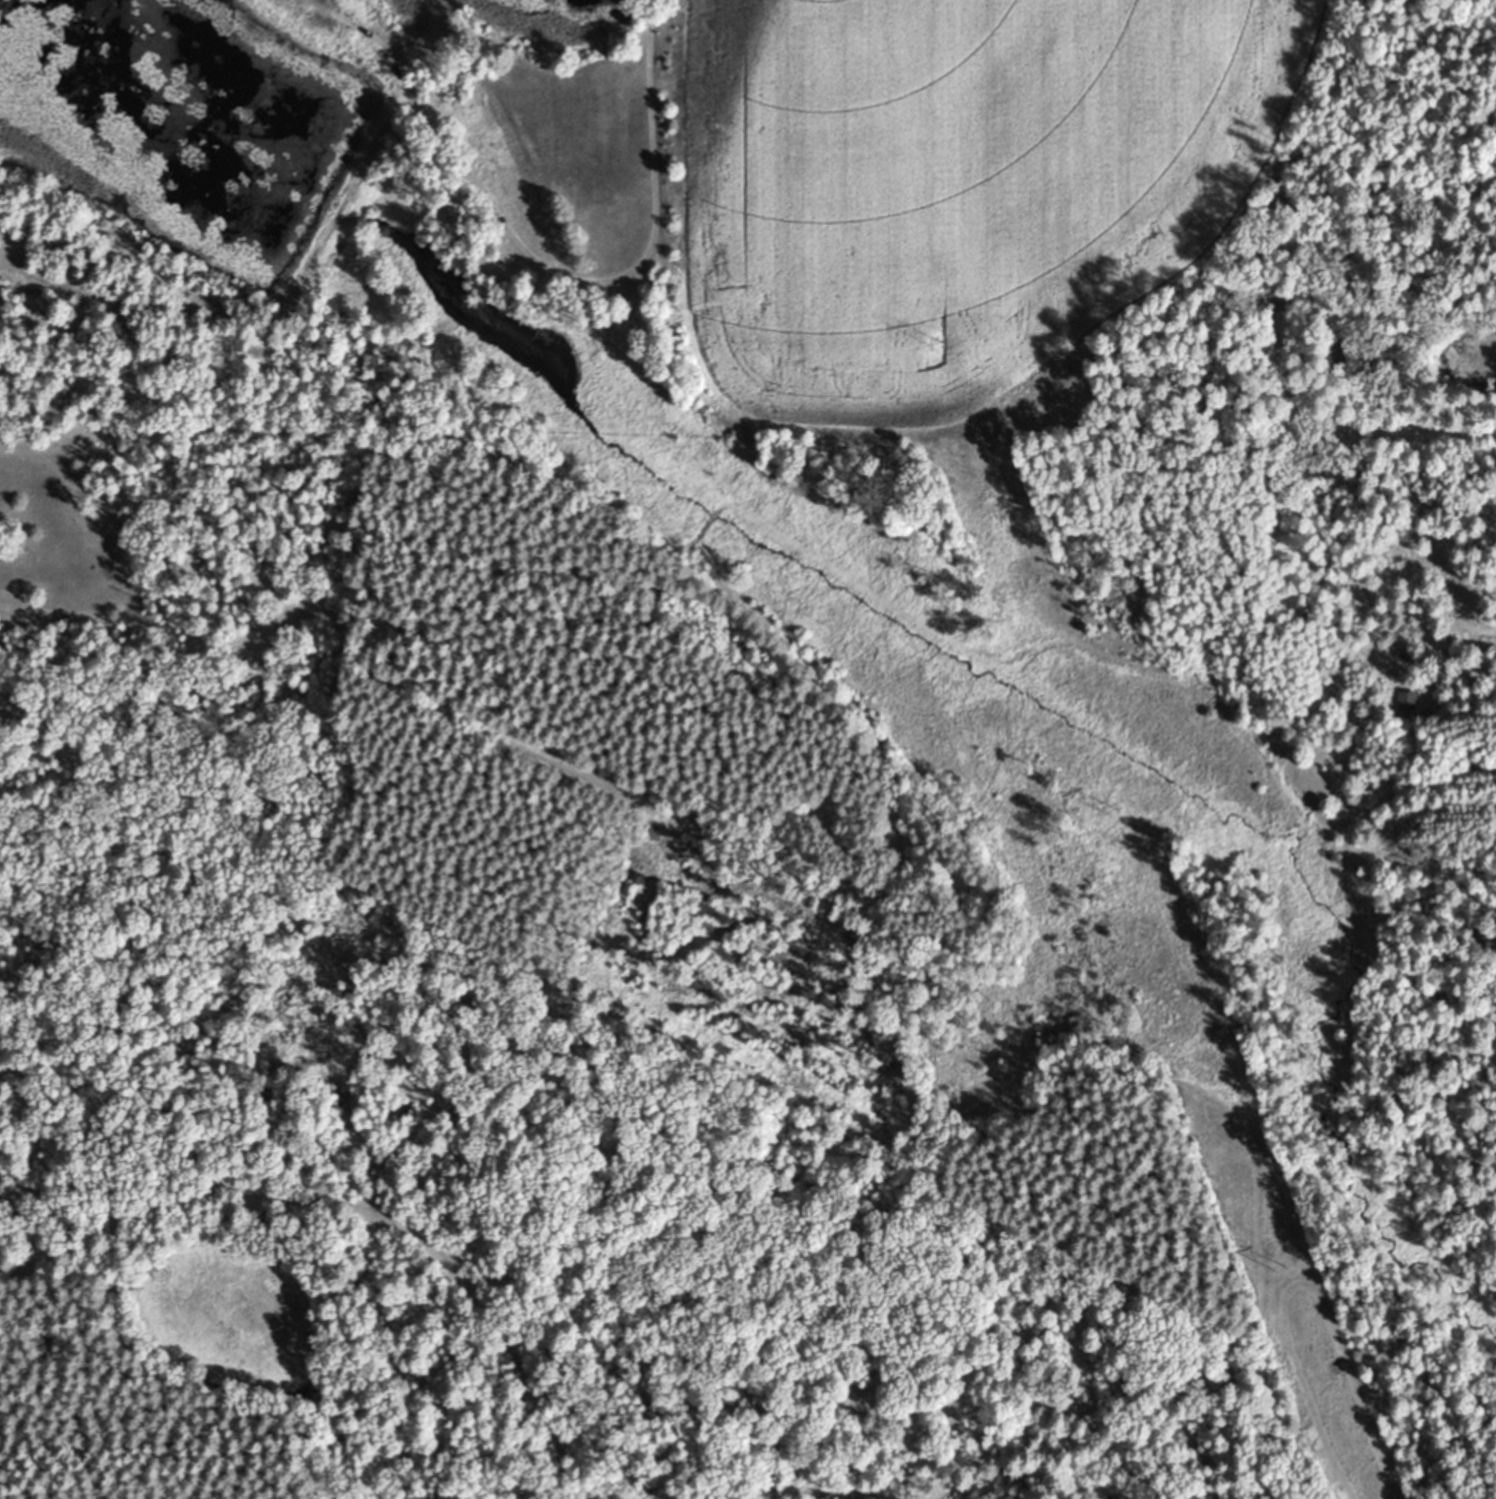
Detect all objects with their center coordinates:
building: (1405, 713)
road: (1455, 730)

